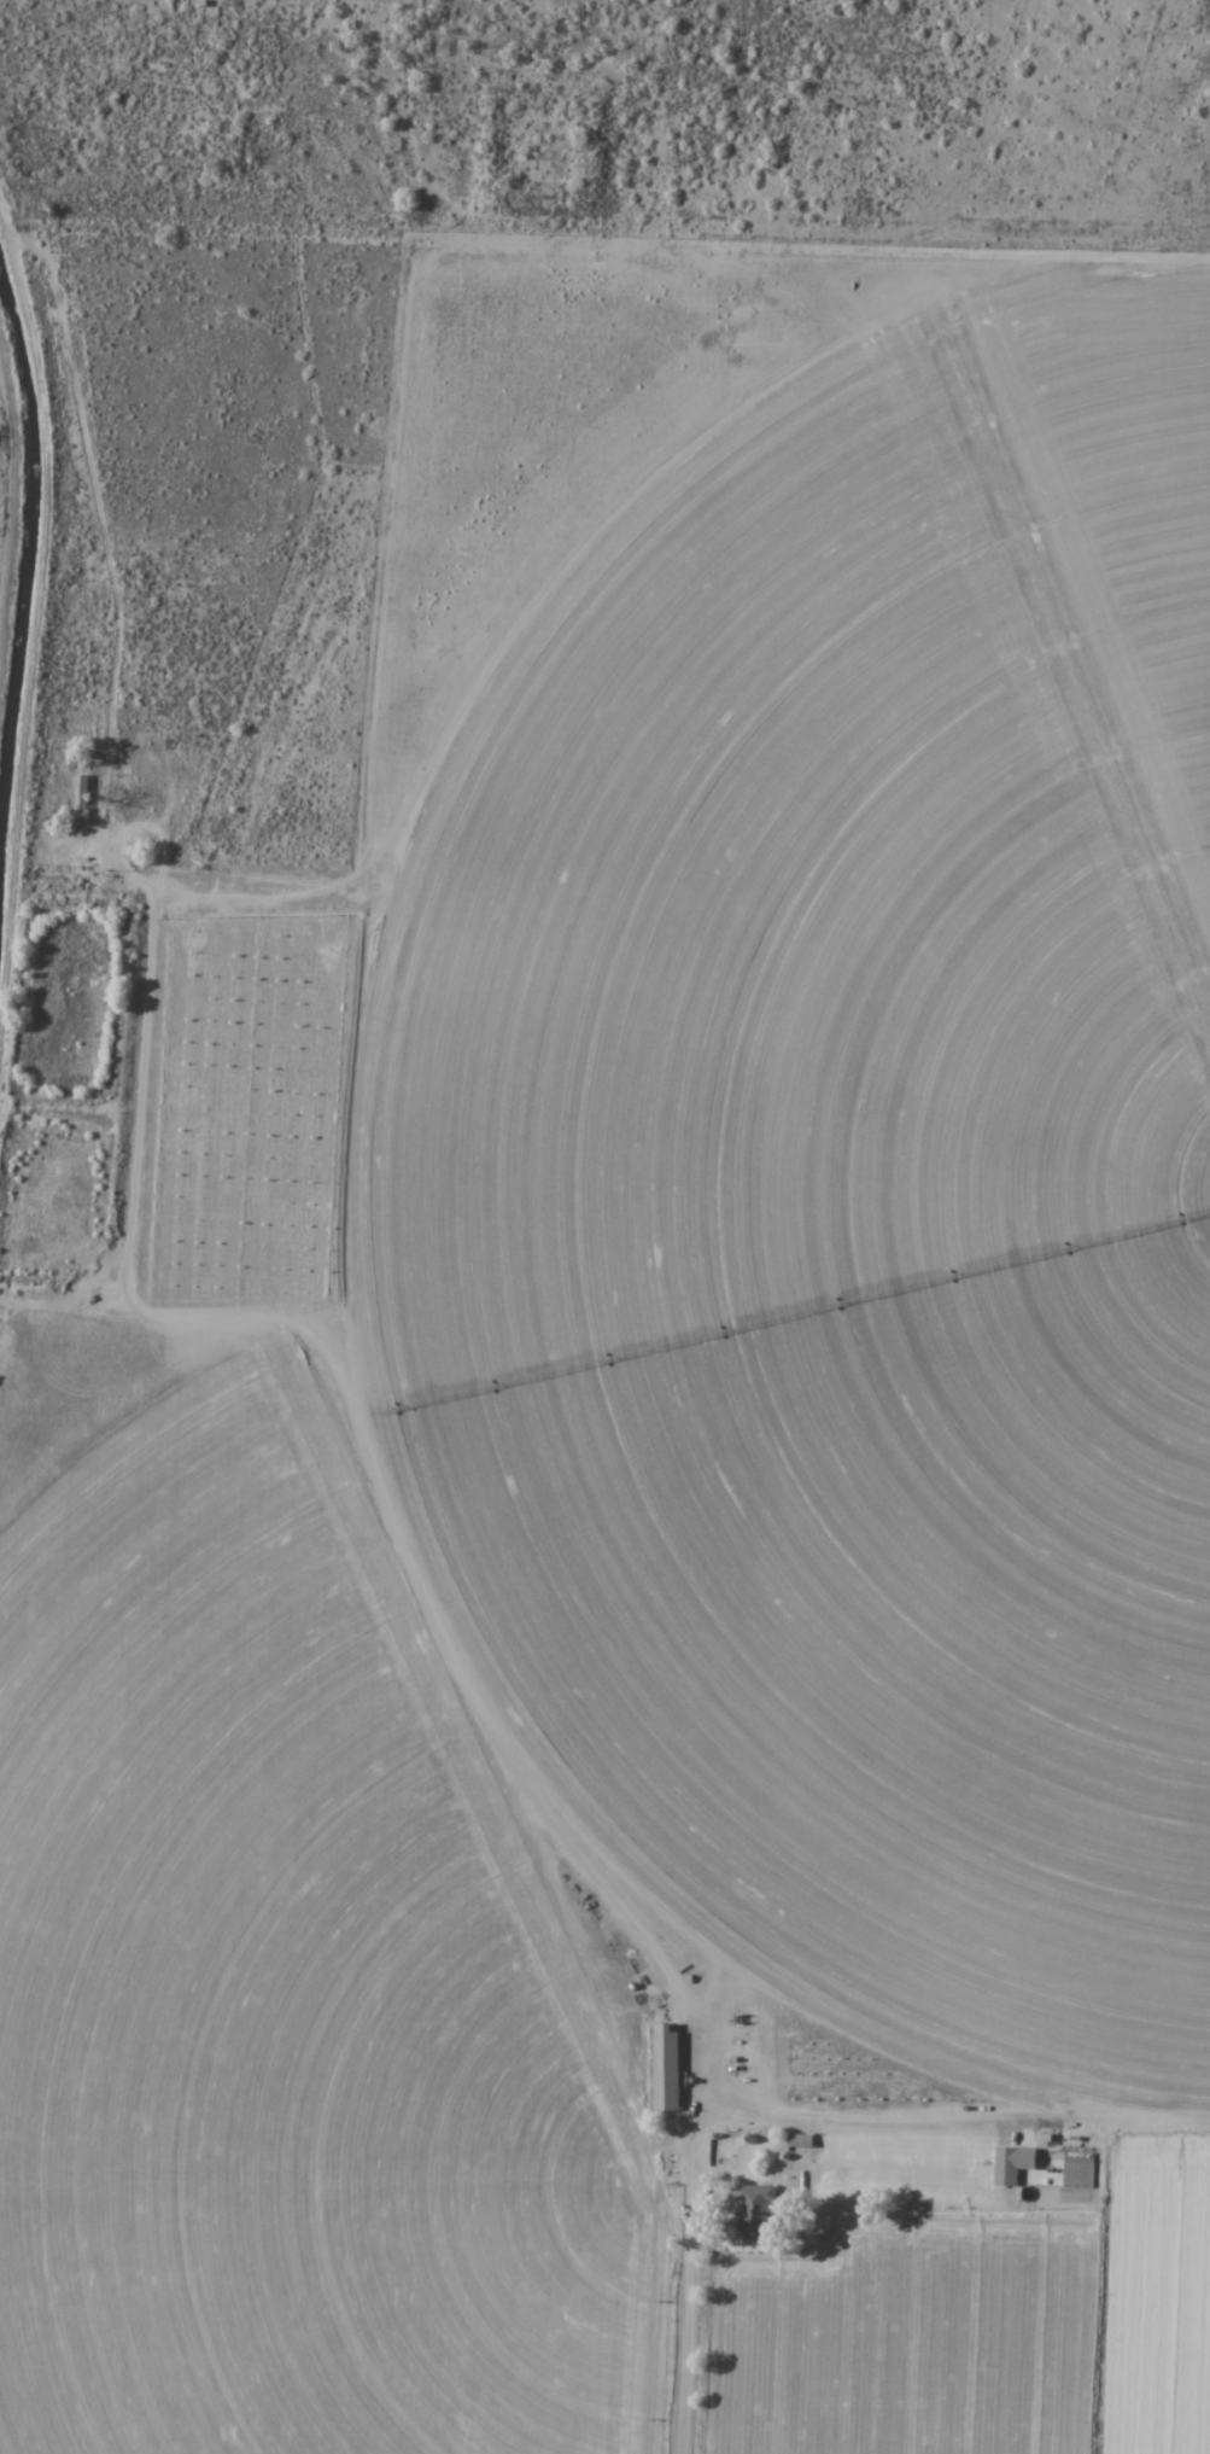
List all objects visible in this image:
building: (81, 789)
building: (665, 2067)
building: (1005, 2166)
building: (754, 2208)
road: (688, 2309)

